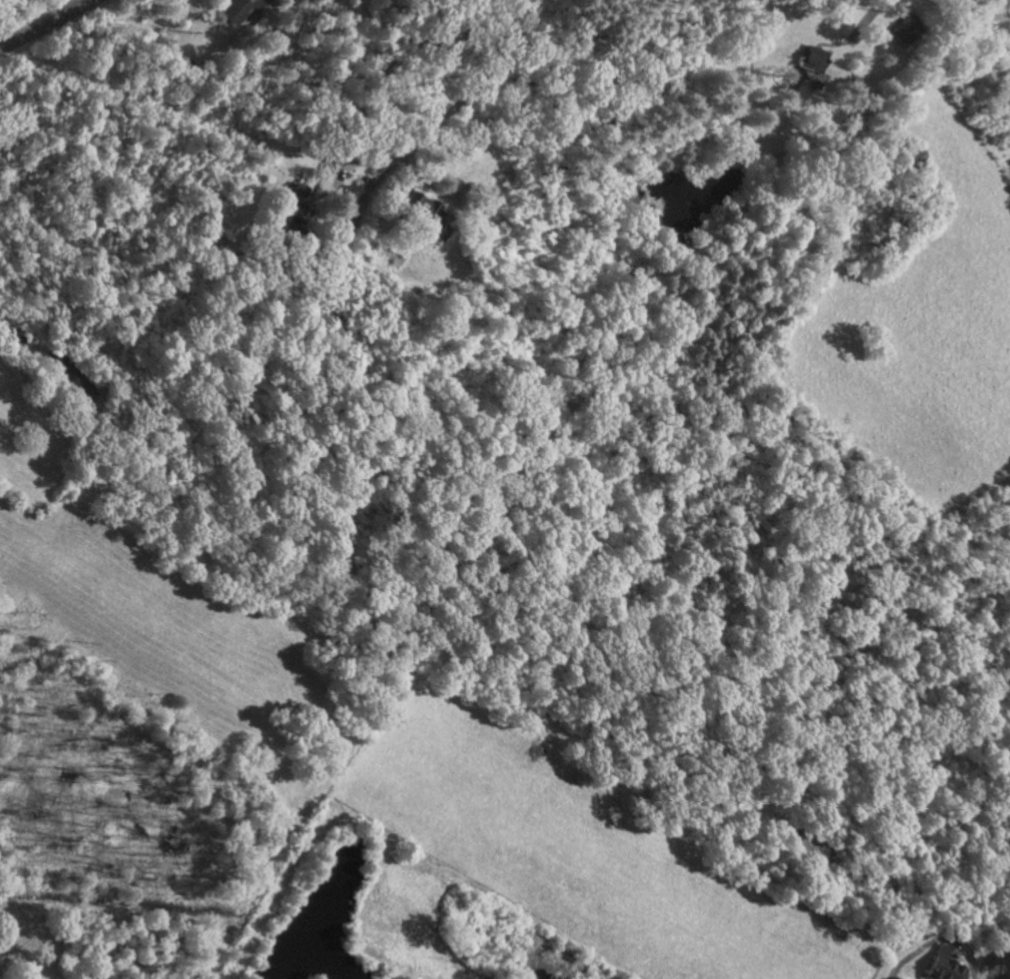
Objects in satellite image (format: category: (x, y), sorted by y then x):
building: (241, 9)
road: (48, 25)
building: (905, 30)
building: (813, 59)
road: (489, 90)
building: (291, 208)
building: (426, 211)
road: (24, 338)
building: (77, 379)
building: (810, 846)
road: (938, 939)
building: (946, 966)

